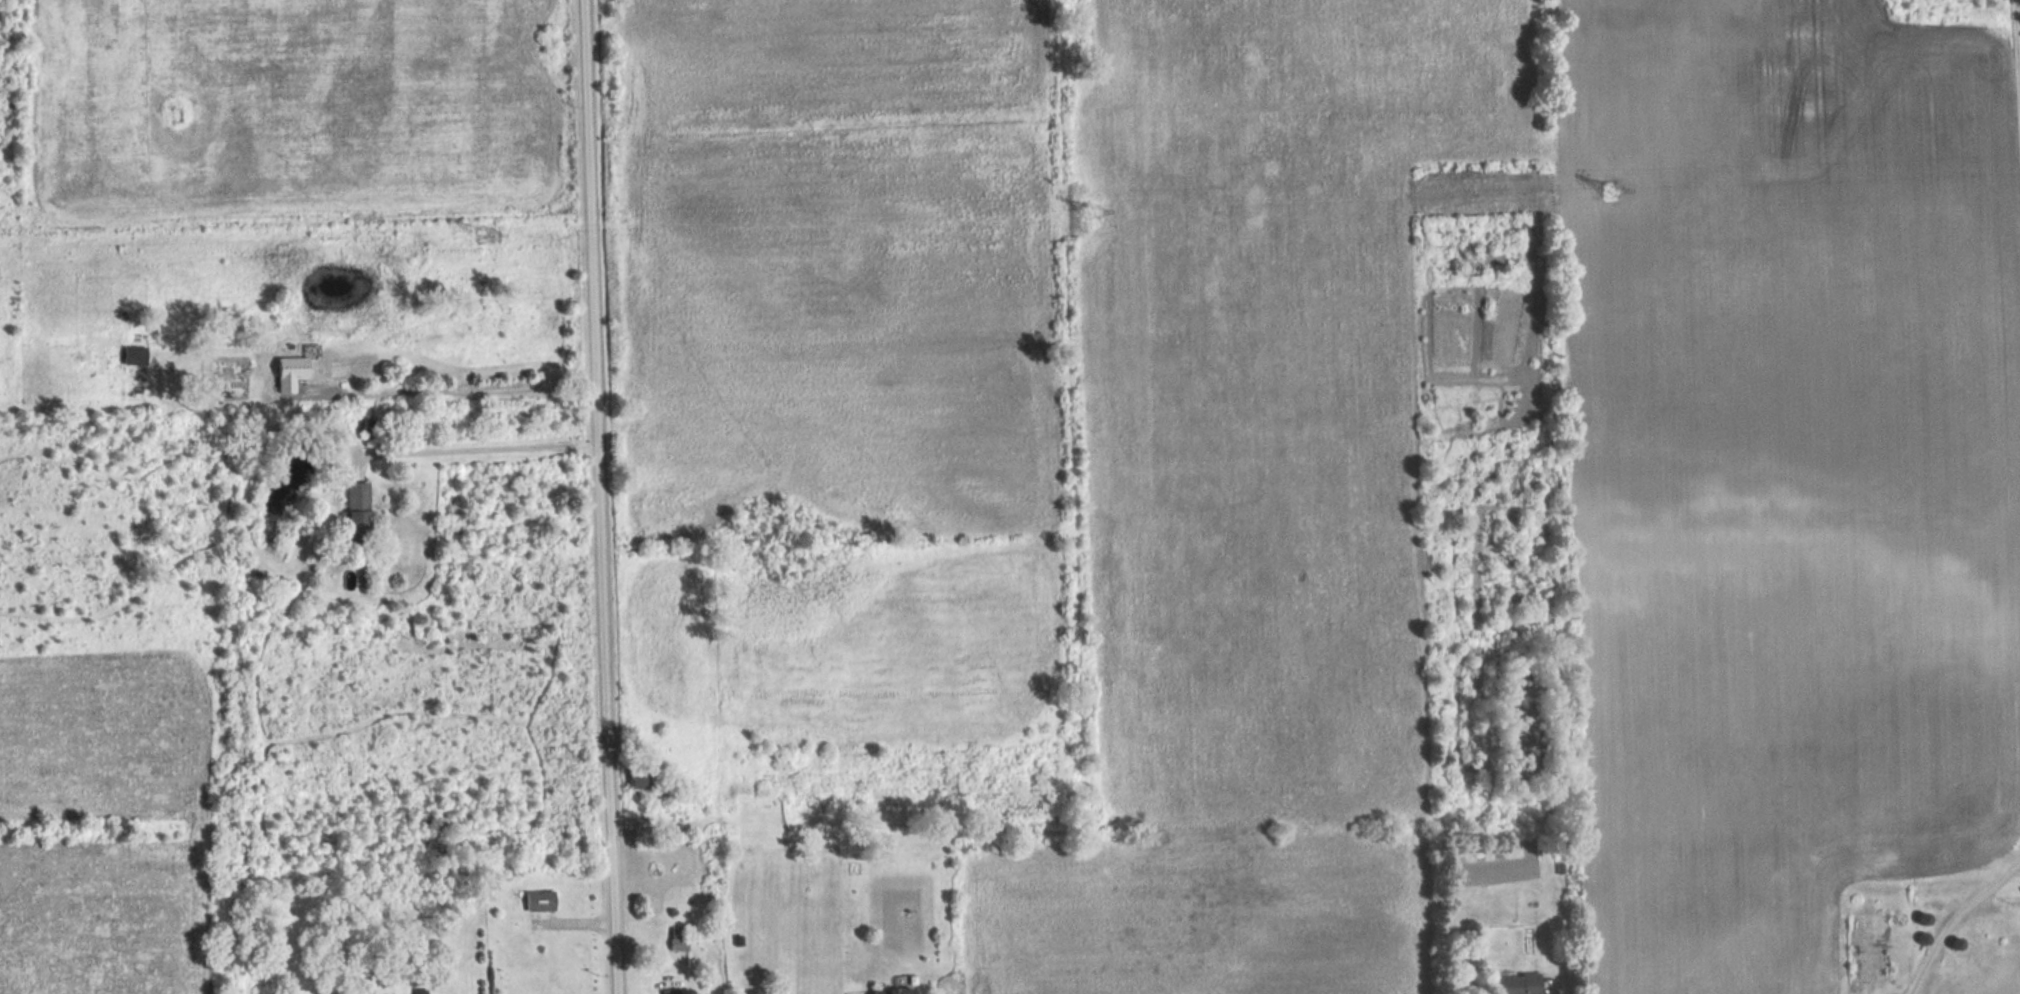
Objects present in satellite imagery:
road: (2017, 47)
power tower: (1614, 192)
power tower: (1090, 214)
power tower: (486, 234)
building: (133, 354)
building: (289, 372)
road: (451, 387)
road: (478, 448)
road: (594, 497)
building: (356, 509)
building: (539, 900)
road: (1954, 917)
building: (676, 939)
building: (1515, 983)
building: (419, 990)
building: (890, 990)

